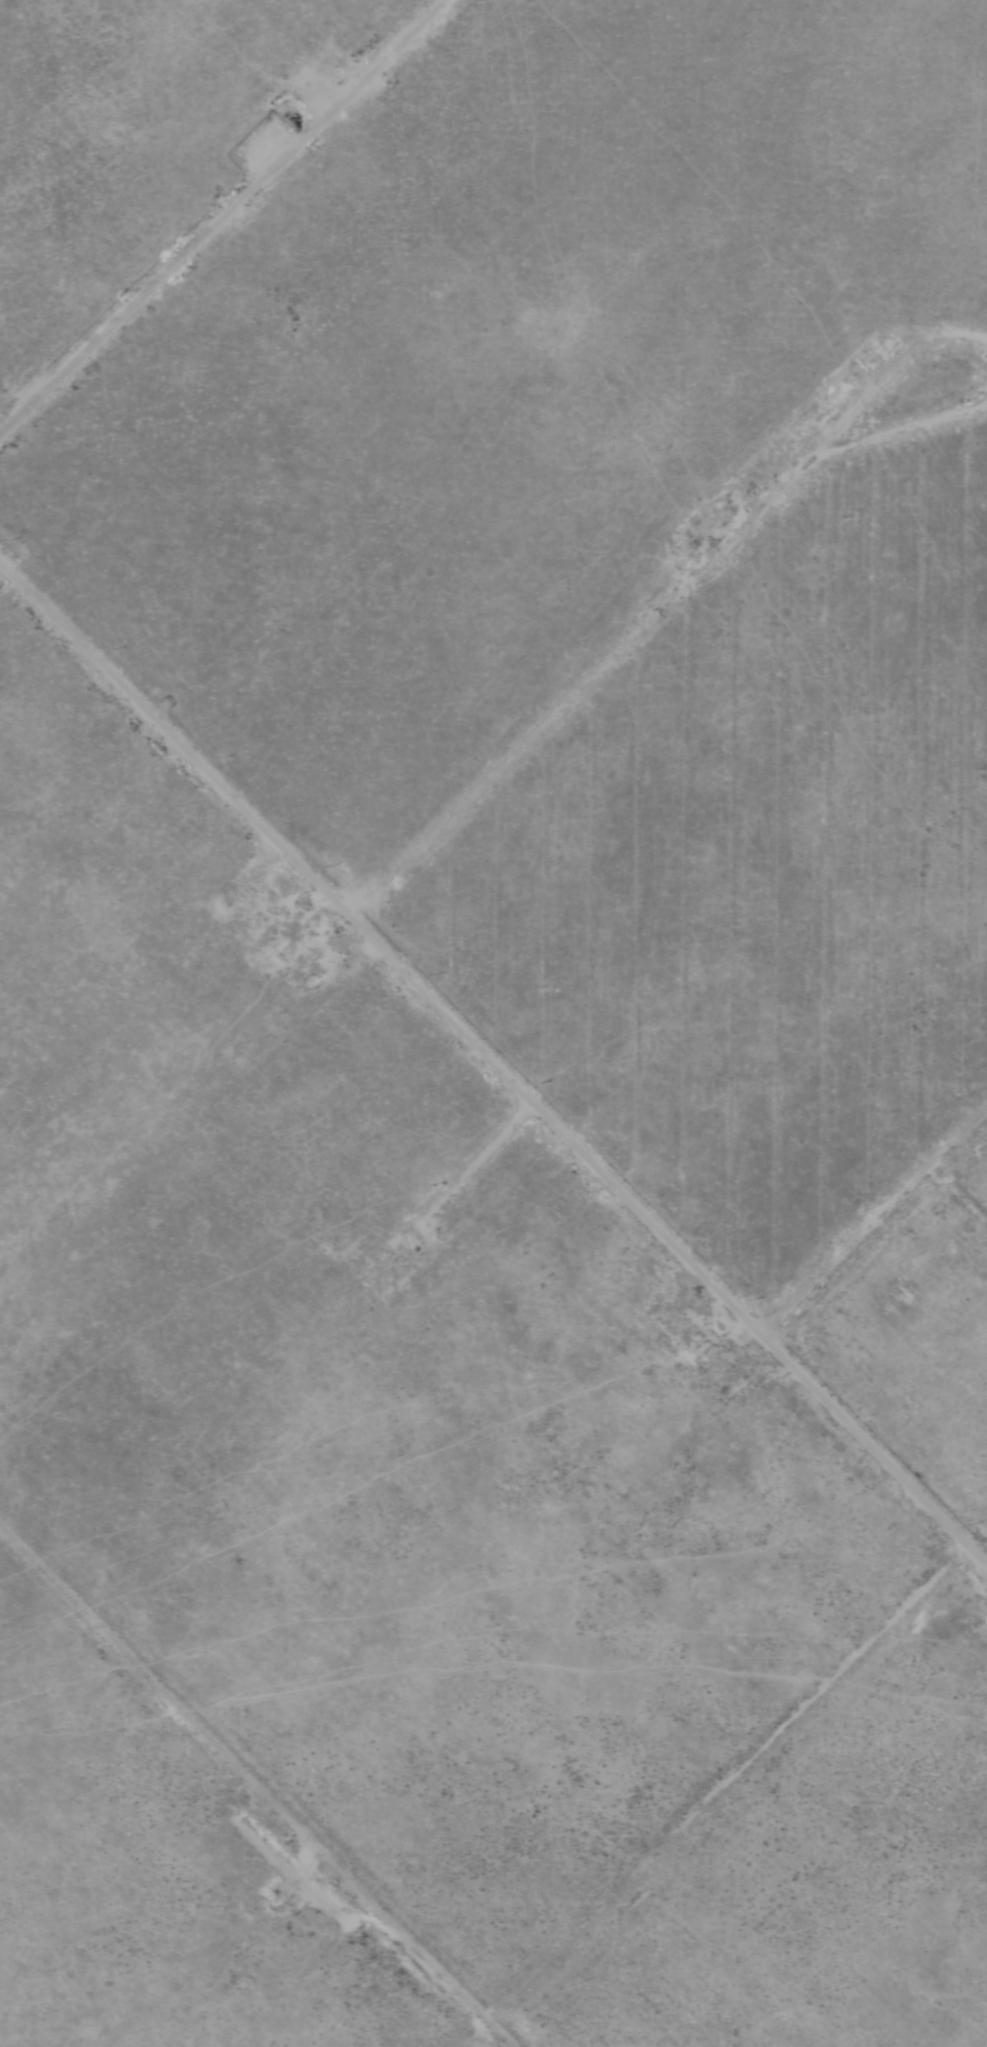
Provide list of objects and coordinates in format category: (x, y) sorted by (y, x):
road: (215, 208)
road: (494, 1065)
road: (871, 1216)
road: (251, 1790)

